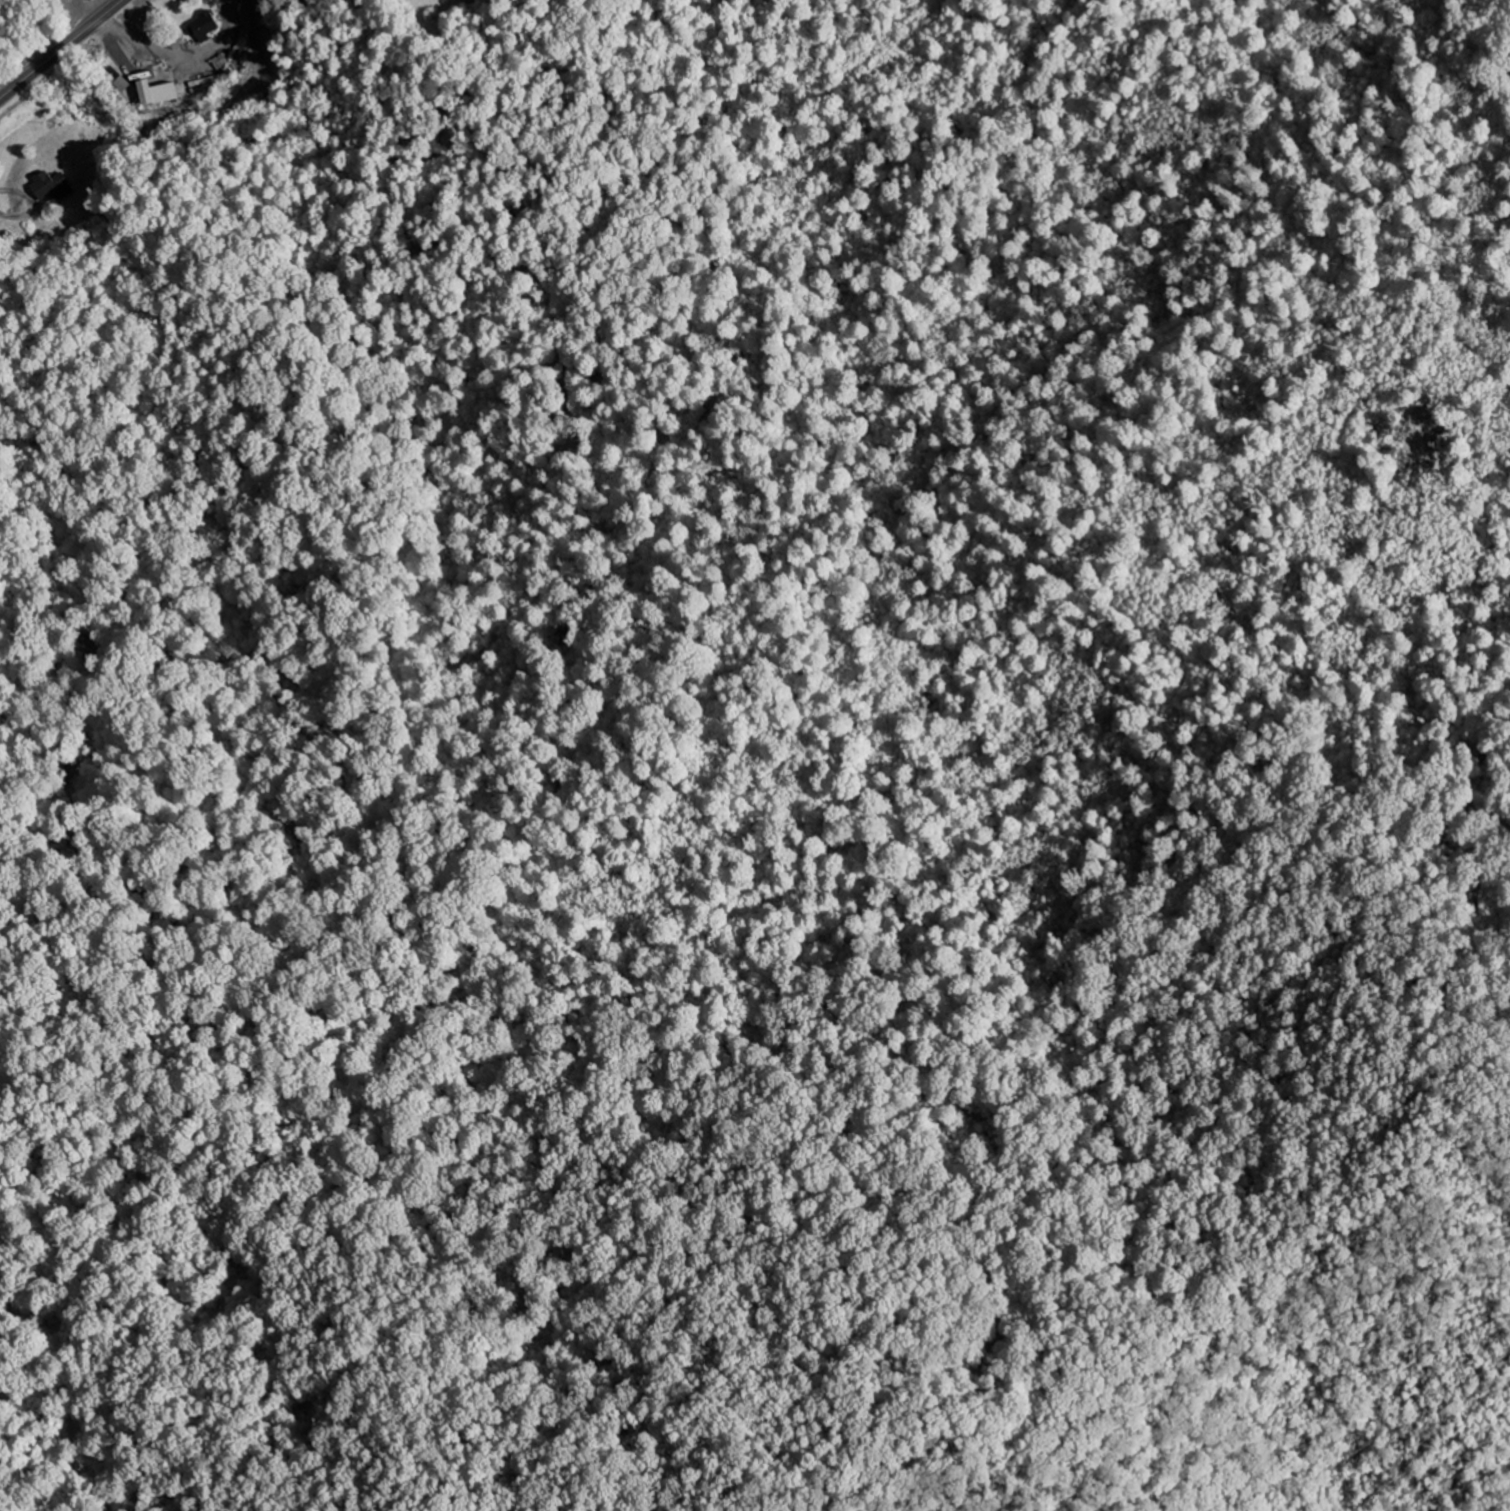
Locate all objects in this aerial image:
building: (205, 27)
road: (135, 47)
road: (61, 49)
building: (52, 187)

